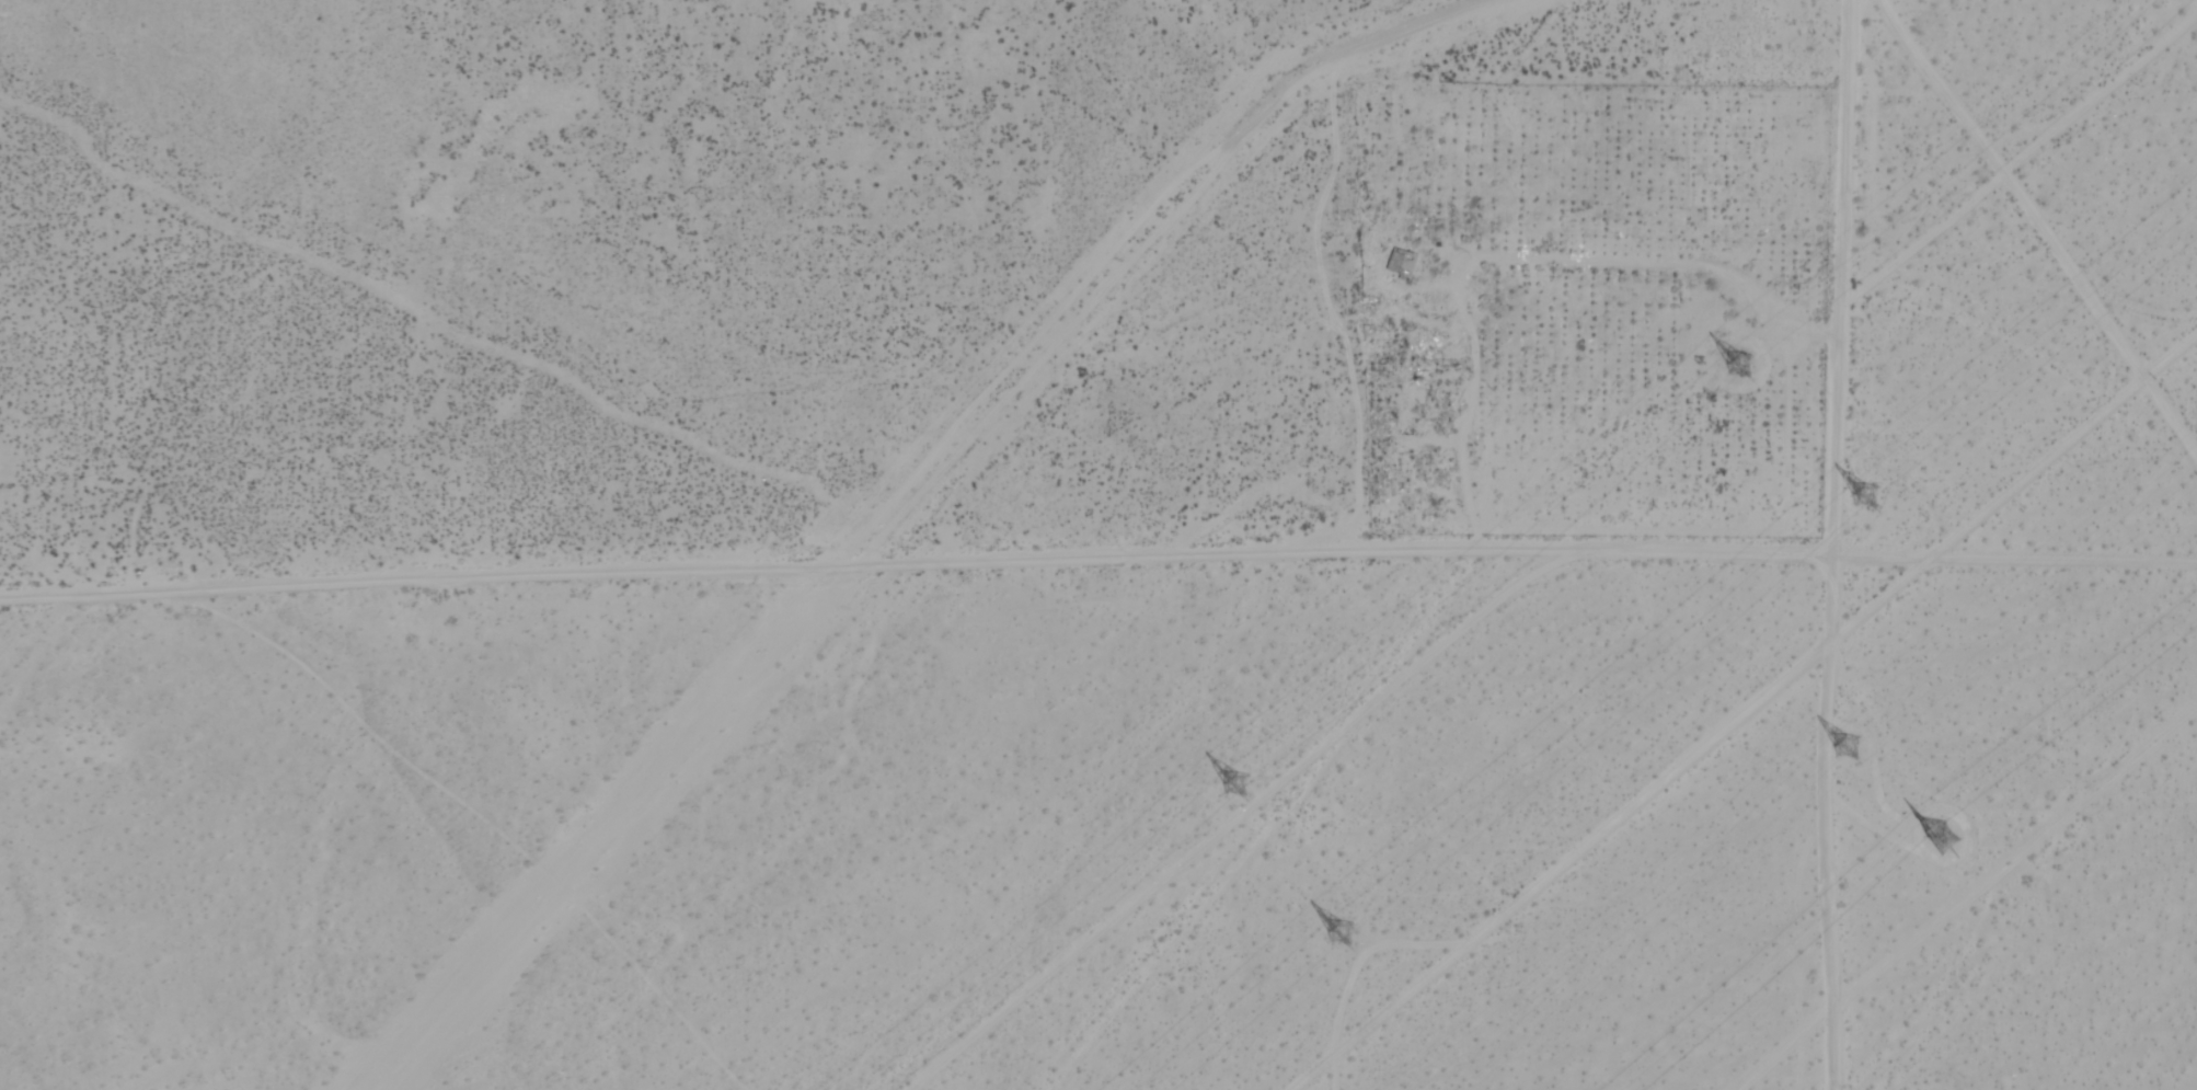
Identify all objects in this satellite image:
road: (2041, 228)
crop: (1589, 310)
power tower: (1753, 365)
power tower: (1874, 498)
road: (1833, 544)
road: (916, 564)
road: (2015, 564)
road: (1741, 710)
power tower: (1851, 741)
power tower: (1239, 783)
power tower: (1945, 834)
power tower: (1346, 920)

